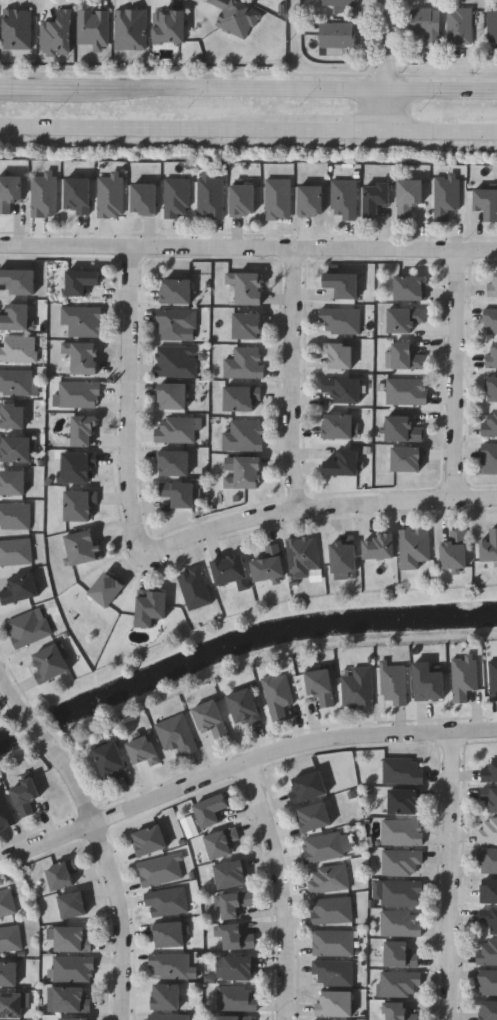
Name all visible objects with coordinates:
building: (340, 4)
building: (425, 23)
building: (492, 23)
building: (459, 24)
building: (169, 26)
building: (93, 28)
building: (131, 29)
building: (336, 34)
road: (391, 64)
road: (313, 67)
road: (280, 88)
road: (31, 89)
road: (327, 129)
road: (131, 130)
road: (444, 130)
building: (9, 192)
building: (78, 195)
building: (44, 196)
building: (210, 196)
building: (409, 196)
building: (445, 196)
building: (110, 197)
building: (177, 198)
building: (376, 198)
building: (144, 199)
building: (243, 199)
building: (278, 199)
building: (344, 199)
building: (311, 200)
building: (487, 203)
road: (248, 249)
building: (19, 280)
building: (81, 281)
building: (343, 283)
building: (493, 284)
building: (247, 287)
building: (410, 288)
building: (177, 291)
building: (16, 316)
building: (405, 318)
building: (82, 320)
building: (490, 320)
building: (176, 323)
building: (248, 325)
building: (18, 349)
building: (339, 354)
building: (492, 354)
building: (83, 357)
building: (407, 357)
building: (176, 361)
building: (244, 363)
road: (457, 375)
road: (294, 379)
building: (17, 381)
building: (342, 388)
building: (492, 388)
building: (406, 390)
building: (79, 394)
building: (173, 396)
building: (242, 397)
road: (129, 398)
building: (13, 415)
building: (490, 424)
building: (340, 426)
building: (177, 429)
building: (402, 429)
building: (84, 431)
building: (243, 435)
building: (15, 449)
building: (489, 458)
building: (407, 459)
building: (174, 463)
building: (343, 464)
building: (77, 467)
building: (245, 473)
building: (12, 482)
building: (178, 493)
building: (79, 505)
road: (319, 507)
building: (14, 516)
building: (82, 547)
building: (379, 547)
building: (413, 547)
building: (489, 547)
building: (455, 550)
building: (15, 551)
building: (302, 555)
building: (343, 556)
building: (269, 564)
building: (231, 570)
building: (194, 586)
building: (20, 589)
building: (106, 589)
building: (151, 607)
building: (28, 628)
building: (50, 662)
building: (463, 677)
building: (493, 679)
building: (428, 682)
building: (393, 684)
building: (321, 686)
building: (357, 686)
building: (277, 695)
building: (243, 707)
building: (211, 719)
building: (176, 735)
road: (51, 748)
road: (288, 748)
building: (143, 751)
building: (110, 761)
building: (402, 771)
building: (489, 772)
building: (308, 787)
building: (25, 796)
building: (490, 797)
building: (405, 801)
building: (5, 810)
building: (211, 810)
building: (314, 817)
building: (488, 831)
building: (402, 832)
building: (149, 841)
building: (221, 843)
road: (47, 844)
building: (323, 847)
building: (487, 859)
building: (401, 861)
building: (160, 870)
building: (231, 874)
building: (61, 875)
road: (451, 876)
building: (328, 879)
road: (283, 889)
building: (489, 891)
building: (401, 892)
building: (166, 901)
building: (7, 902)
building: (73, 904)
building: (234, 904)
building: (331, 910)
building: (489, 918)
road: (121, 920)
building: (400, 924)
building: (168, 935)
building: (73, 938)
building: (236, 938)
building: (10, 939)
building: (333, 942)
building: (487, 953)
building: (400, 955)
building: (169, 965)
building: (73, 968)
building: (238, 968)
building: (332, 972)
building: (8, 974)
building: (487, 982)
building: (400, 983)
building: (166, 996)
building: (236, 998)
building: (72, 1000)
building: (335, 1004)
building: (11, 1005)
building: (398, 1011)
building: (489, 1011)
building: (169, 1017)
building: (235, 1018)
building: (74, 1019)

